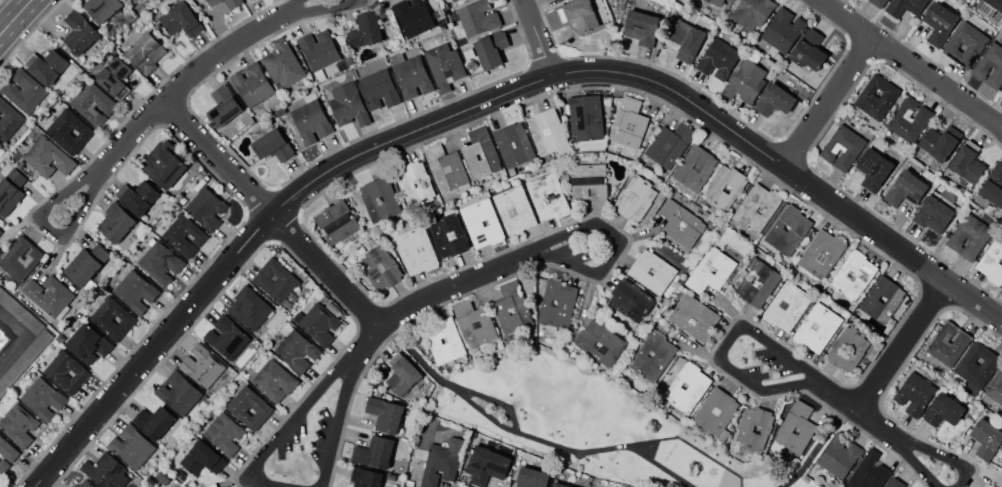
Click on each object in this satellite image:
building: (141, 0)
building: (454, 0)
building: (559, 0)
building: (133, 1)
building: (212, 2)
building: (717, 2)
building: (233, 3)
building: (877, 3)
building: (995, 4)
building: (906, 6)
building: (102, 8)
road: (304, 9)
building: (752, 12)
building: (579, 13)
road: (14, 15)
building: (413, 16)
road: (4, 17)
building: (478, 18)
building: (181, 20)
building: (939, 22)
building: (642, 28)
building: (367, 29)
building: (782, 30)
road: (29, 32)
building: (80, 32)
road: (536, 36)
building: (687, 40)
building: (965, 44)
building: (492, 48)
building: (318, 49)
building: (809, 50)
road: (860, 50)
building: (146, 52)
road: (922, 55)
road: (902, 58)
road: (543, 59)
building: (719, 59)
building: (282, 63)
building: (444, 64)
building: (46, 65)
building: (990, 65)
building: (114, 77)
building: (411, 77)
road: (184, 79)
building: (745, 83)
building: (252, 84)
building: (378, 89)
building: (24, 91)
building: (1000, 92)
building: (877, 97)
building: (775, 100)
road: (482, 101)
road: (826, 101)
building: (93, 103)
building: (347, 104)
building: (224, 106)
road: (729, 111)
road: (174, 113)
road: (491, 113)
building: (586, 117)
building: (310, 118)
road: (988, 118)
building: (8, 119)
building: (909, 120)
building: (628, 123)
building: (69, 130)
building: (546, 130)
road: (138, 142)
road: (812, 142)
building: (939, 142)
building: (669, 144)
building: (0, 145)
building: (273, 145)
building: (513, 145)
building: (842, 148)
road: (791, 149)
building: (471, 153)
building: (48, 157)
road: (216, 157)
building: (164, 163)
building: (966, 164)
building: (696, 167)
building: (873, 169)
building: (446, 170)
road: (98, 175)
building: (588, 181)
building: (414, 183)
building: (906, 185)
building: (993, 185)
road: (277, 186)
building: (724, 186)
building: (12, 190)
building: (548, 196)
building: (137, 197)
building: (634, 198)
building: (370, 199)
building: (207, 208)
building: (756, 208)
building: (514, 210)
building: (933, 214)
building: (337, 221)
building: (115, 222)
building: (481, 223)
building: (681, 223)
building: (788, 230)
building: (0, 231)
building: (184, 234)
building: (448, 235)
building: (969, 237)
road: (269, 240)
road: (271, 241)
road: (620, 248)
building: (416, 250)
building: (0, 252)
building: (821, 254)
building: (19, 259)
building: (992, 260)
building: (160, 262)
building: (83, 267)
building: (381, 267)
road: (324, 269)
building: (711, 270)
building: (653, 272)
building: (853, 275)
building: (276, 282)
building: (757, 282)
road: (438, 289)
building: (135, 291)
building: (46, 295)
road: (933, 295)
building: (882, 299)
building: (628, 301)
building: (557, 304)
building: (510, 306)
building: (787, 306)
building: (249, 308)
road: (367, 316)
building: (693, 317)
building: (100, 318)
building: (317, 323)
building: (474, 323)
building: (817, 328)
road: (24, 334)
building: (3, 337)
building: (226, 337)
building: (433, 339)
building: (599, 342)
building: (88, 343)
building: (948, 344)
road: (900, 345)
road: (723, 346)
building: (848, 348)
building: (297, 351)
building: (653, 356)
building: (977, 365)
building: (201, 366)
building: (67, 372)
building: (402, 374)
building: (274, 380)
road: (326, 381)
road: (887, 384)
building: (995, 386)
building: (686, 388)
building: (178, 392)
building: (914, 393)
road: (863, 394)
building: (42, 398)
road: (487, 398)
building: (237, 407)
road: (856, 408)
building: (943, 410)
building: (716, 413)
building: (386, 414)
building: (154, 421)
building: (18, 425)
park: (606, 426)
building: (753, 428)
building: (796, 428)
building: (224, 433)
road: (525, 434)
building: (986, 438)
road: (908, 441)
road: (814, 444)
building: (132, 446)
building: (7, 449)
building: (374, 452)
building: (839, 455)
building: (202, 458)
building: (441, 462)
building: (487, 465)
building: (3, 466)
building: (106, 471)
building: (869, 471)
building: (366, 477)
building: (533, 477)
building: (895, 482)
building: (85, 484)
building: (558, 485)
building: (598, 485)

